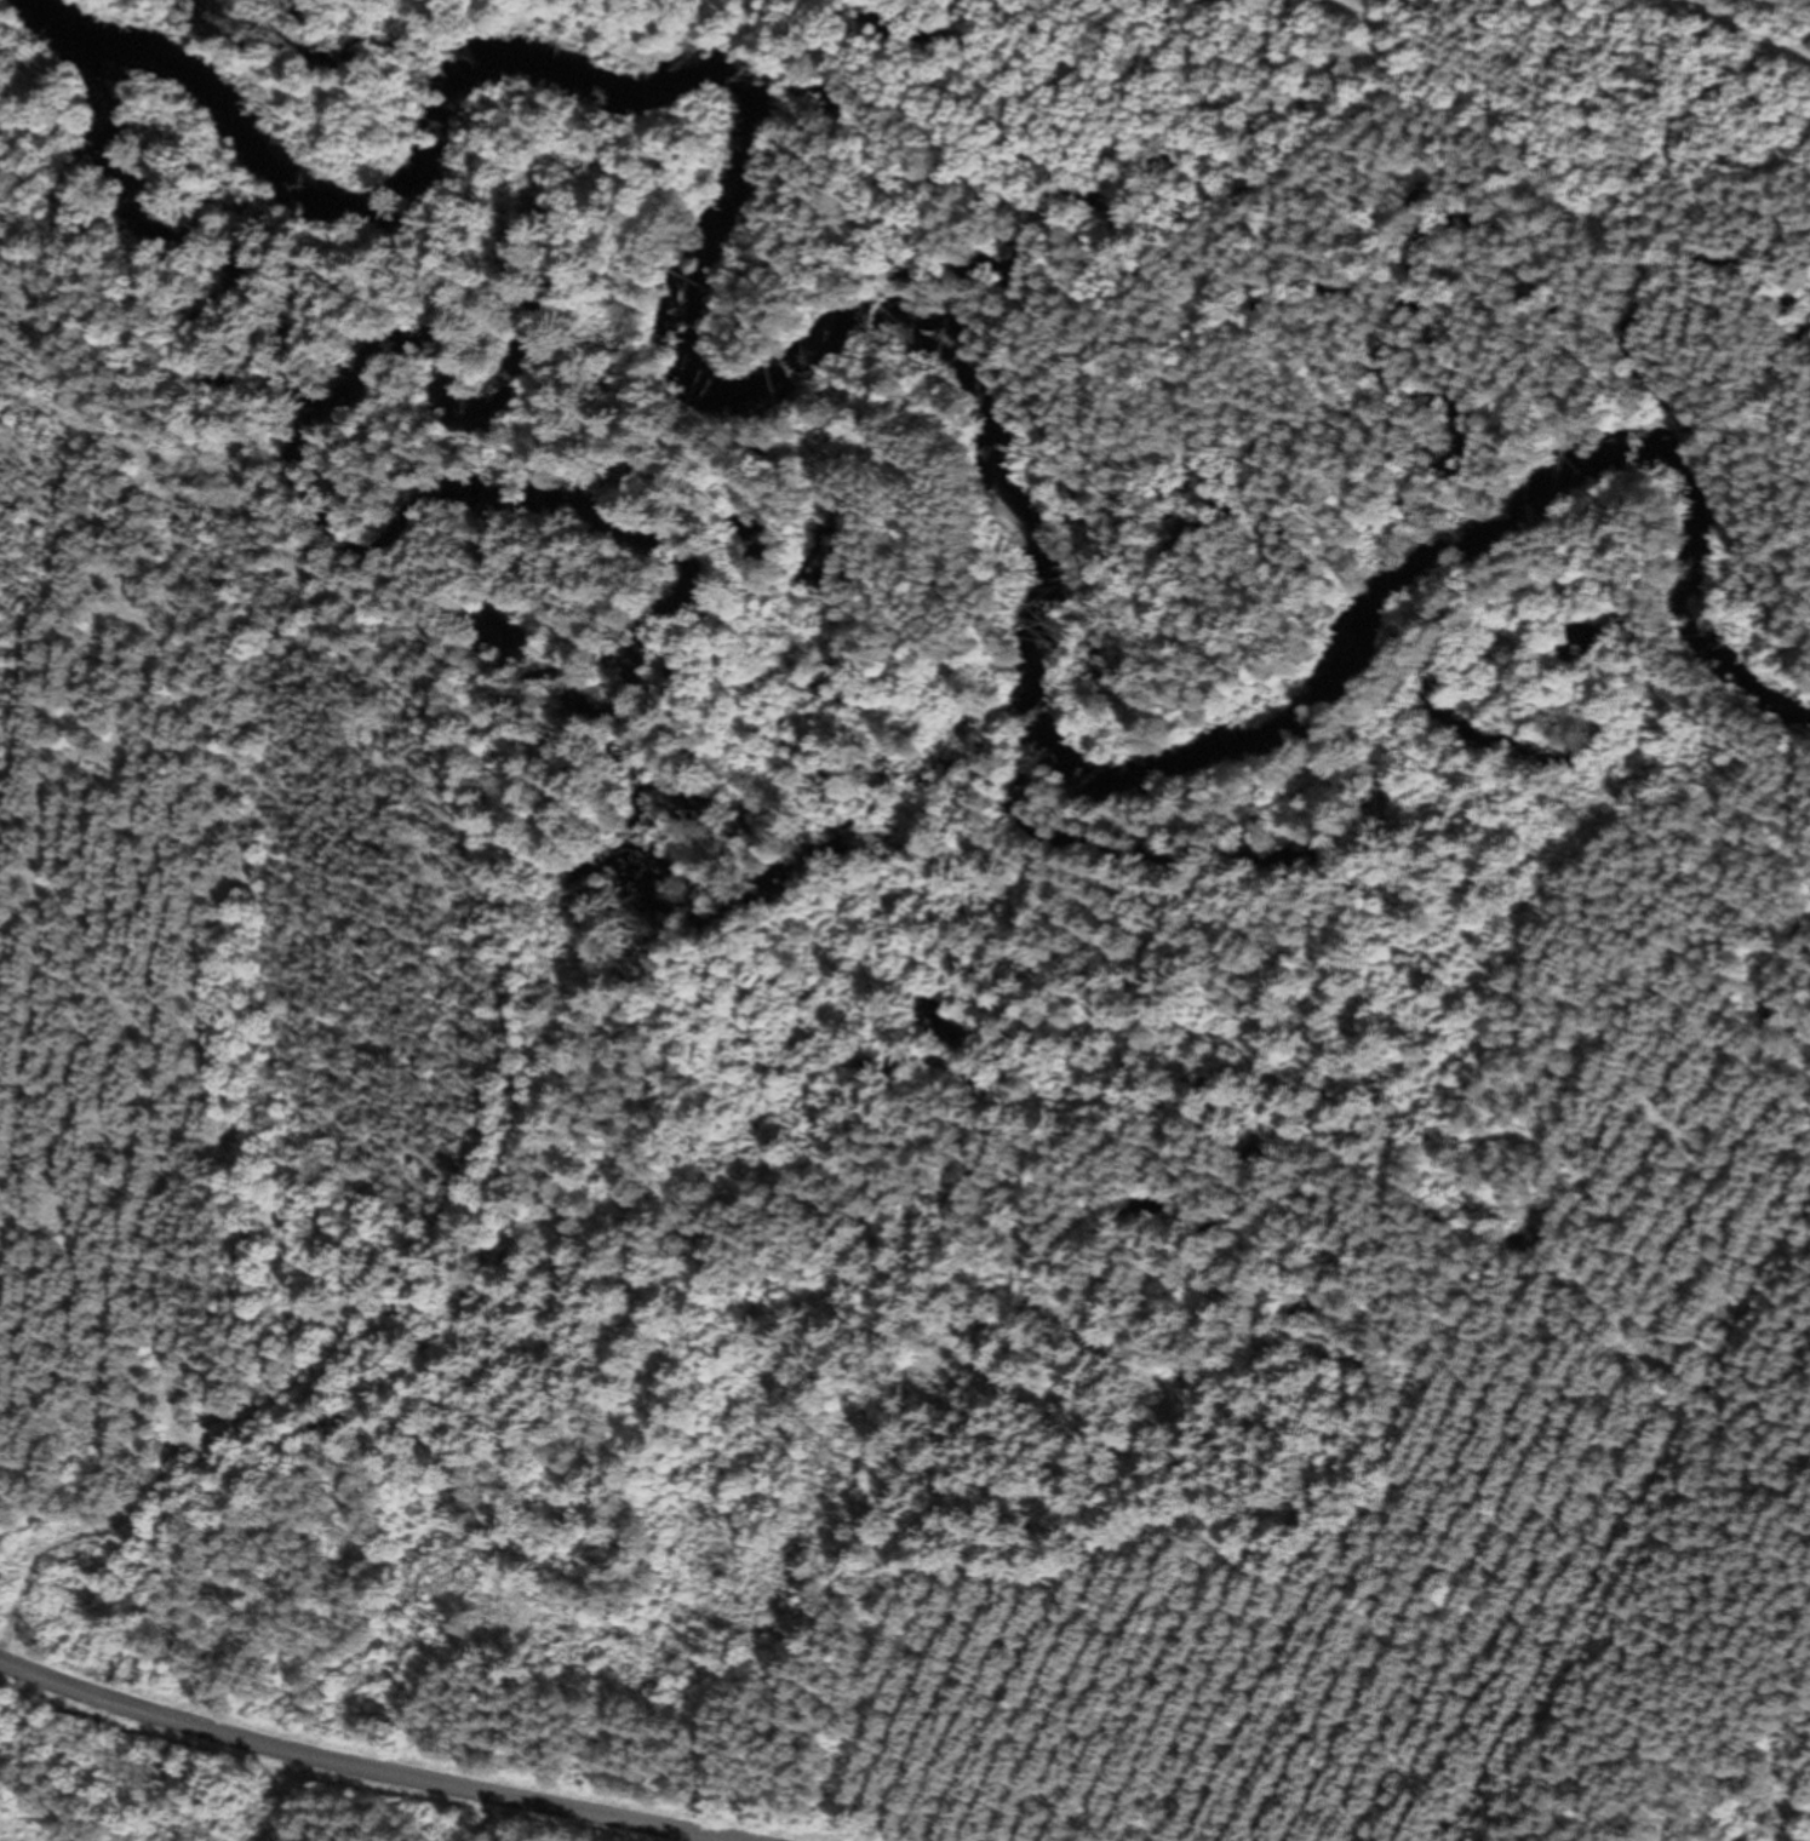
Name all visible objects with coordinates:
road: (1665, 117)
road: (349, 1770)

